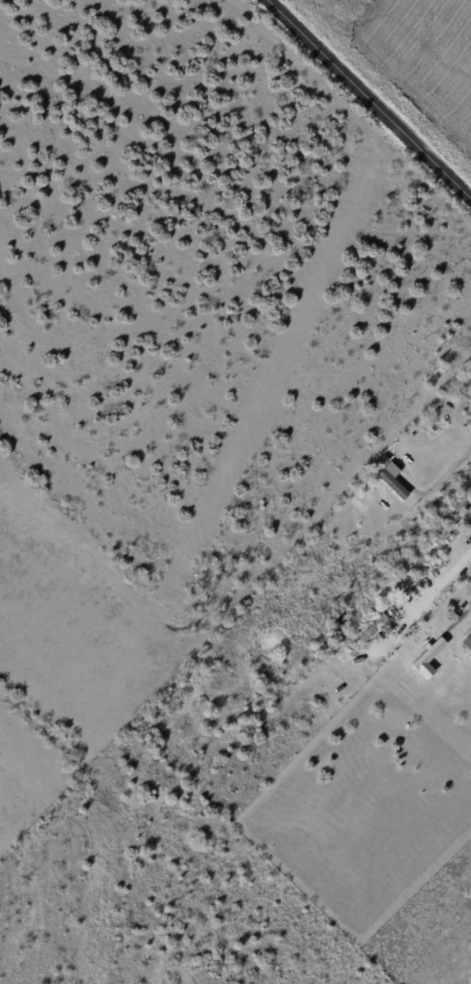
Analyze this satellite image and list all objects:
road: (371, 96)
building: (468, 380)
road: (449, 476)
building: (394, 485)
building: (445, 543)
building: (414, 571)
road: (440, 583)
building: (378, 631)
building: (468, 643)

